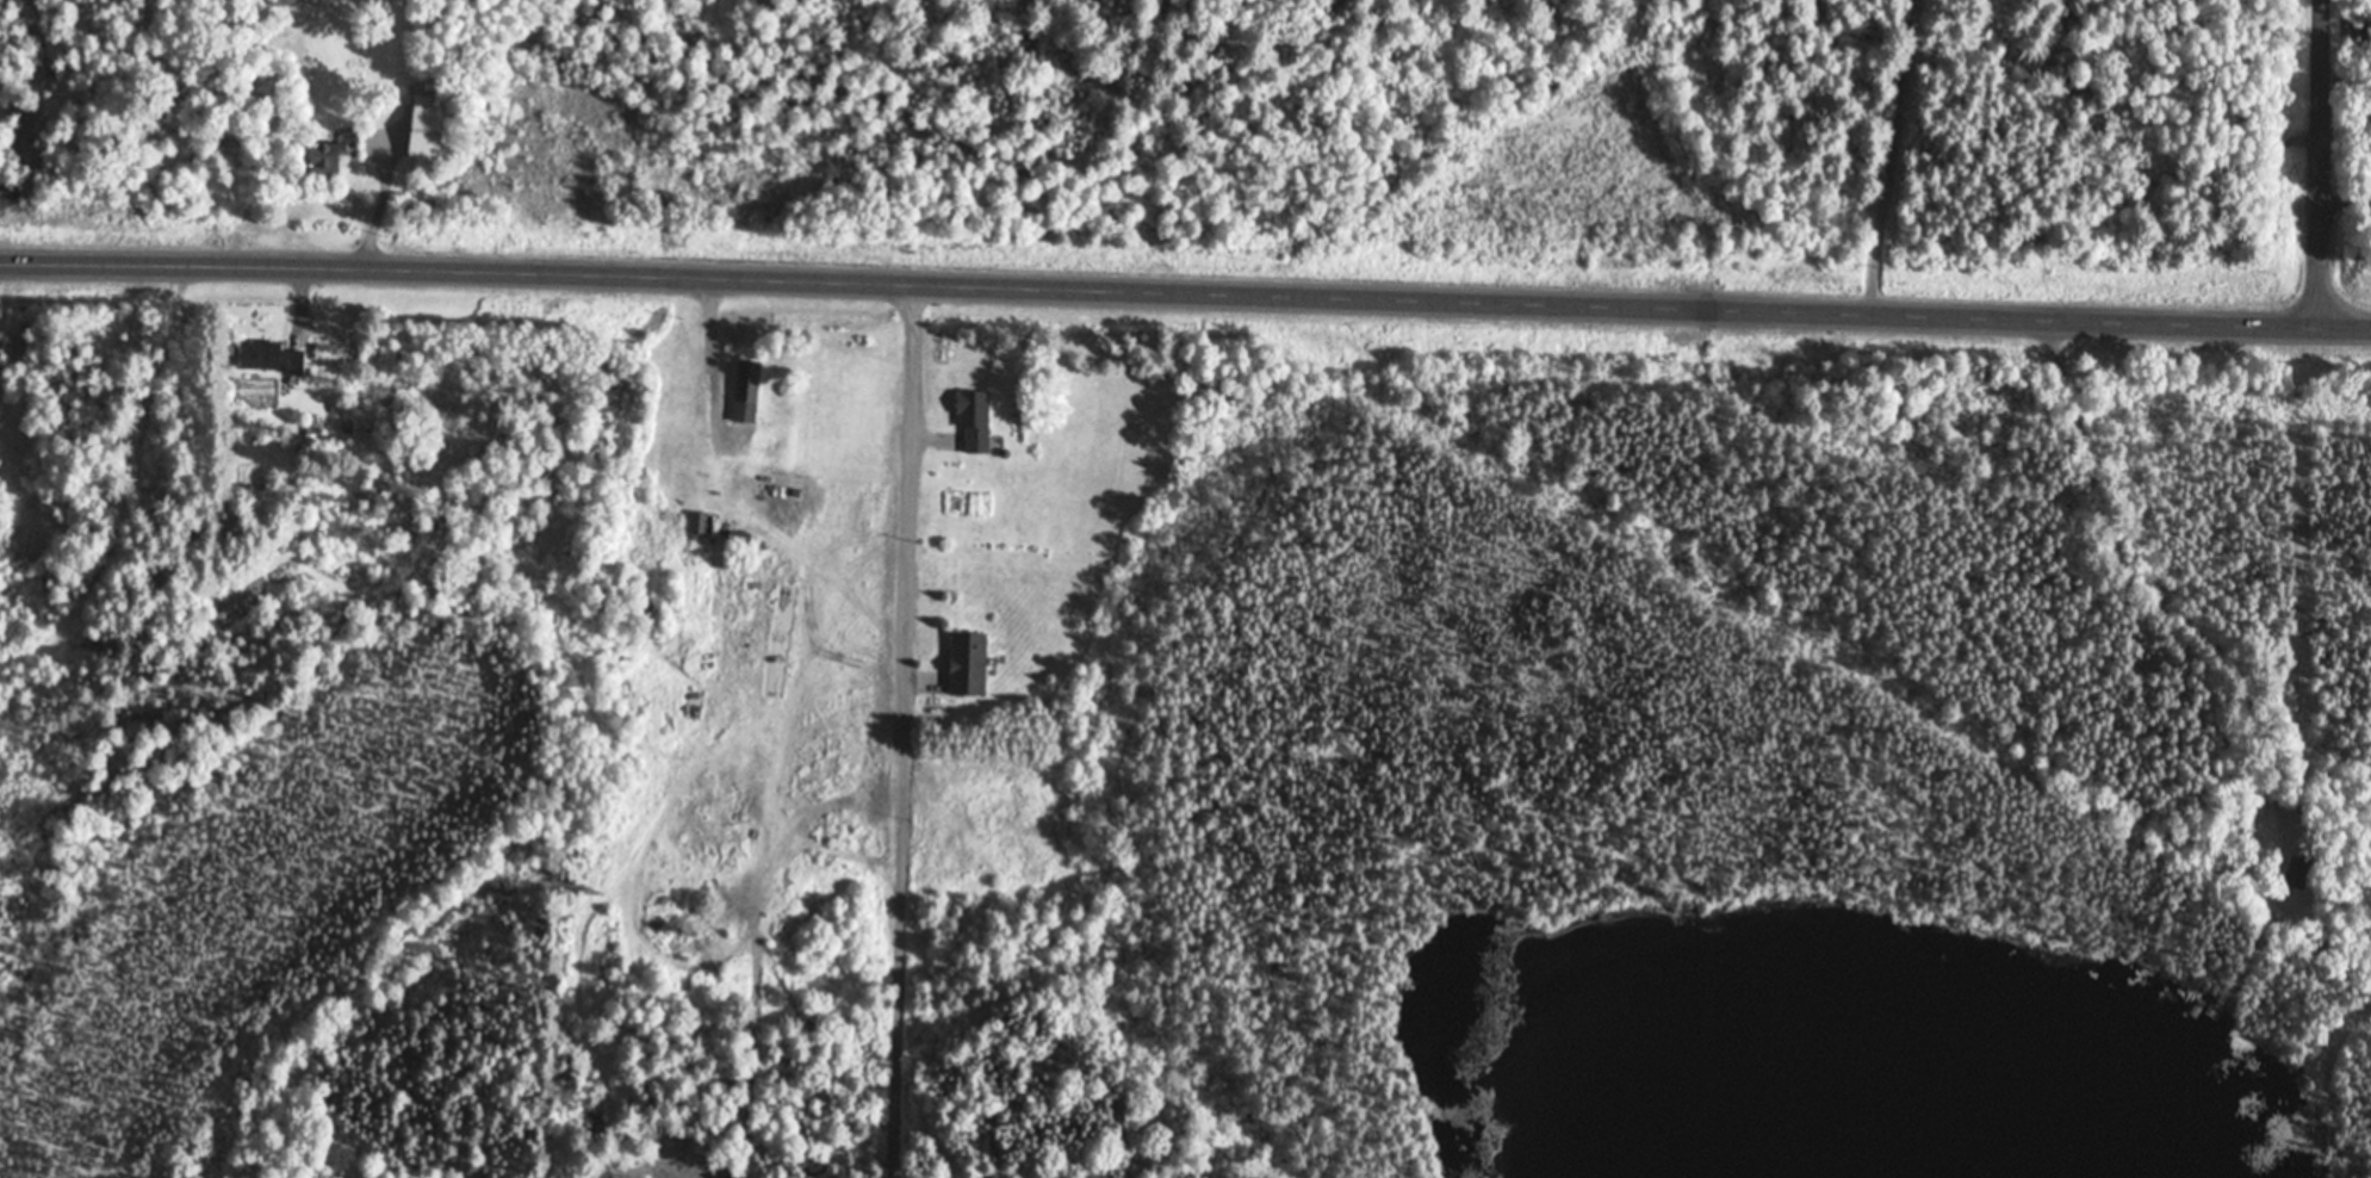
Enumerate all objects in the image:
building: (288, 1)
building: (426, 129)
building: (327, 157)
road: (2325, 161)
road: (1185, 289)
building: (268, 358)
building: (746, 392)
building: (974, 423)
building: (764, 444)
building: (780, 488)
building: (697, 532)
road: (2137, 582)
building: (968, 664)
road: (907, 728)
building: (2297, 873)
building: (594, 1123)

